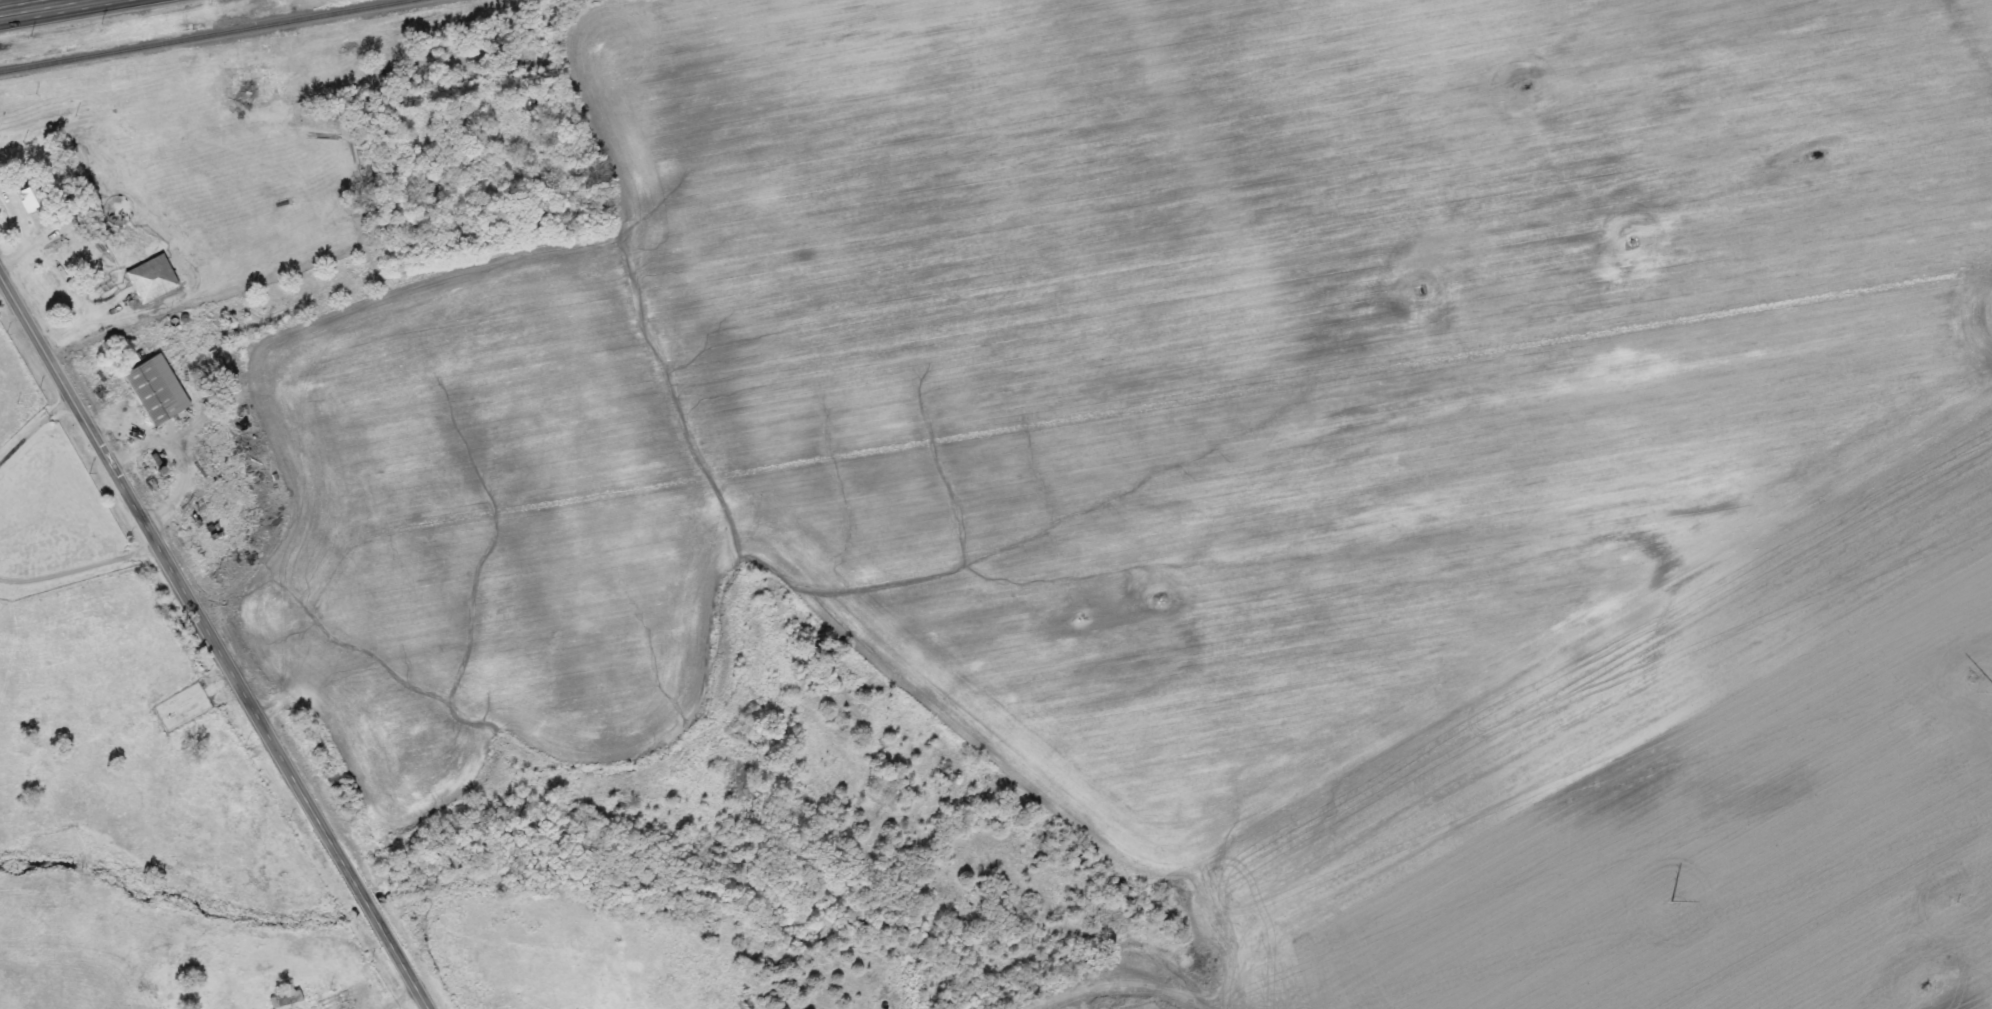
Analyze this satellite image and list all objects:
road: (29, 5)
railway: (203, 35)
building: (230, 95)
building: (34, 197)
building: (152, 278)
building: (157, 390)
road: (216, 636)
road: (1040, 986)
building: (189, 995)
building: (289, 998)

